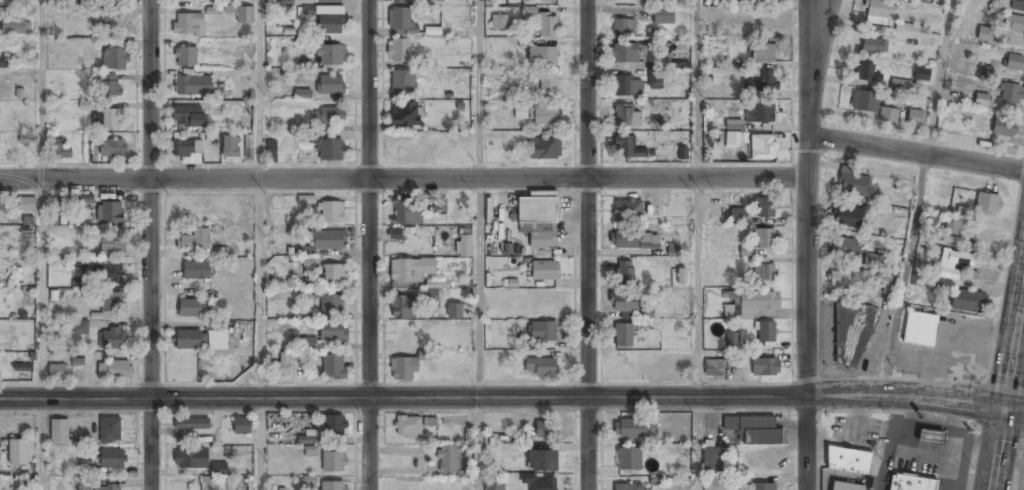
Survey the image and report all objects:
building: (551, 0)
building: (931, 0)
building: (330, 1)
building: (401, 1)
building: (765, 1)
building: (82, 2)
building: (286, 2)
building: (1017, 5)
building: (528, 11)
building: (879, 11)
building: (244, 15)
building: (663, 18)
building: (101, 19)
building: (331, 21)
building: (400, 21)
building: (1013, 22)
building: (500, 23)
building: (189, 25)
building: (549, 26)
building: (906, 27)
building: (15, 28)
building: (625, 28)
building: (985, 34)
road: (816, 43)
building: (874, 45)
building: (399, 51)
building: (765, 54)
building: (624, 55)
building: (330, 56)
building: (543, 57)
building: (185, 58)
building: (115, 59)
building: (1015, 62)
building: (3, 63)
building: (866, 72)
building: (921, 74)
building: (400, 82)
building: (549, 82)
building: (764, 82)
building: (656, 83)
building: (331, 85)
building: (900, 85)
building: (110, 86)
building: (192, 87)
building: (627, 87)
road: (697, 88)
road: (260, 89)
road: (482, 89)
road: (40, 90)
building: (1009, 93)
building: (302, 94)
building: (981, 99)
building: (865, 100)
building: (88, 105)
building: (520, 111)
building: (760, 114)
building: (888, 114)
building: (330, 115)
building: (406, 115)
building: (545, 116)
building: (187, 117)
building: (627, 117)
building: (914, 117)
building: (108, 119)
building: (733, 124)
building: (1004, 127)
building: (26, 140)
building: (625, 147)
building: (764, 147)
building: (230, 148)
building: (249, 148)
building: (330, 148)
building: (546, 148)
building: (112, 149)
building: (187, 150)
building: (57, 151)
building: (272, 151)
building: (682, 152)
road: (915, 154)
road: (403, 178)
building: (853, 182)
road: (919, 196)
road: (806, 197)
building: (987, 202)
building: (0, 203)
building: (439, 204)
building: (27, 205)
building: (765, 209)
building: (408, 211)
building: (628, 211)
building: (109, 213)
building: (331, 213)
building: (847, 216)
building: (738, 217)
building: (538, 221)
building: (954, 225)
building: (946, 238)
building: (765, 240)
building: (195, 241)
building: (329, 241)
building: (635, 241)
building: (464, 243)
road: (151, 245)
road: (367, 245)
road: (587, 245)
building: (112, 247)
building: (843, 247)
building: (671, 249)
building: (871, 258)
building: (954, 263)
building: (311, 267)
building: (197, 272)
building: (411, 272)
building: (545, 272)
building: (764, 272)
building: (626, 274)
building: (111, 275)
building: (334, 275)
building: (839, 278)
building: (886, 284)
building: (934, 284)
building: (435, 285)
building: (968, 301)
building: (623, 303)
building: (751, 303)
building: (109, 304)
building: (331, 305)
building: (403, 308)
building: (194, 309)
building: (454, 311)
building: (81, 327)
building: (919, 328)
building: (333, 332)
building: (767, 332)
building: (852, 332)
building: (543, 333)
road: (699, 333)
road: (40, 334)
road: (260, 334)
road: (482, 334)
building: (623, 336)
building: (111, 340)
building: (191, 341)
building: (732, 342)
road: (1014, 348)
building: (282, 366)
building: (334, 367)
building: (540, 367)
building: (765, 367)
building: (404, 369)
building: (715, 369)
building: (115, 371)
building: (22, 373)
building: (58, 373)
road: (502, 397)
traffic signals: (1005, 407)
road: (1014, 408)
building: (192, 425)
building: (242, 426)
building: (335, 426)
building: (408, 428)
building: (110, 430)
building: (634, 430)
building: (544, 431)
building: (755, 431)
building: (59, 433)
building: (308, 437)
building: (931, 437)
road: (804, 443)
road: (998, 448)
building: (311, 451)
building: (19, 454)
building: (112, 459)
building: (191, 459)
building: (629, 459)
building: (848, 460)
building: (449, 461)
building: (713, 461)
building: (334, 462)
building: (543, 462)
building: (911, 482)
building: (538, 483)
building: (207, 484)
building: (84, 485)
building: (495, 485)
building: (334, 486)
building: (846, 486)
building: (630, 487)
building: (761, 487)
building: (107, 488)
building: (672, 488)
building: (244, 489)

